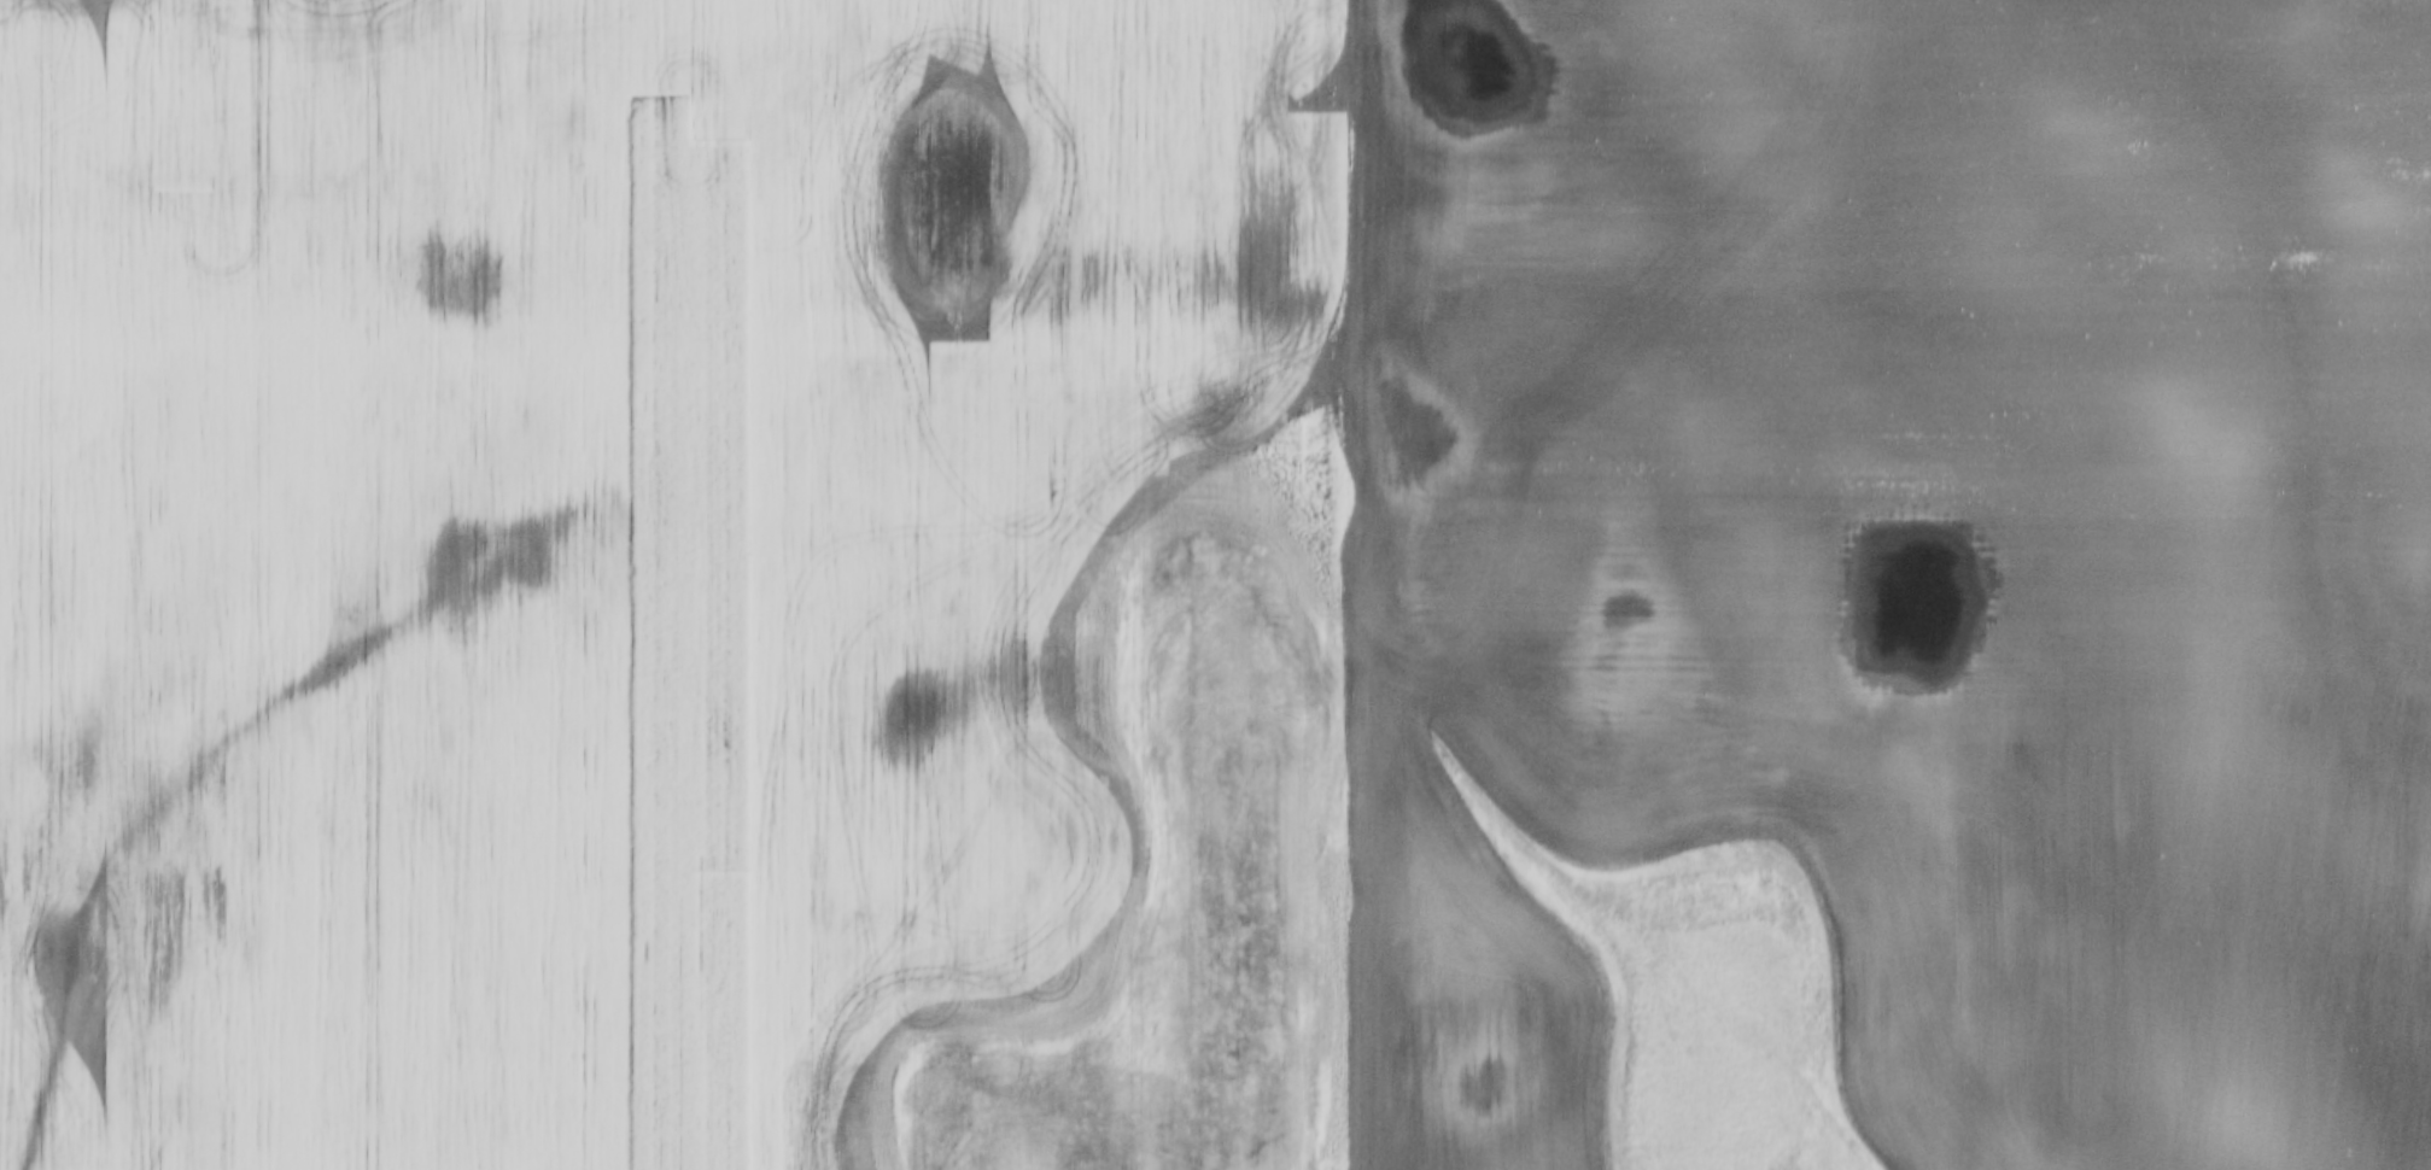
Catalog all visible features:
road: (1354, 585)

